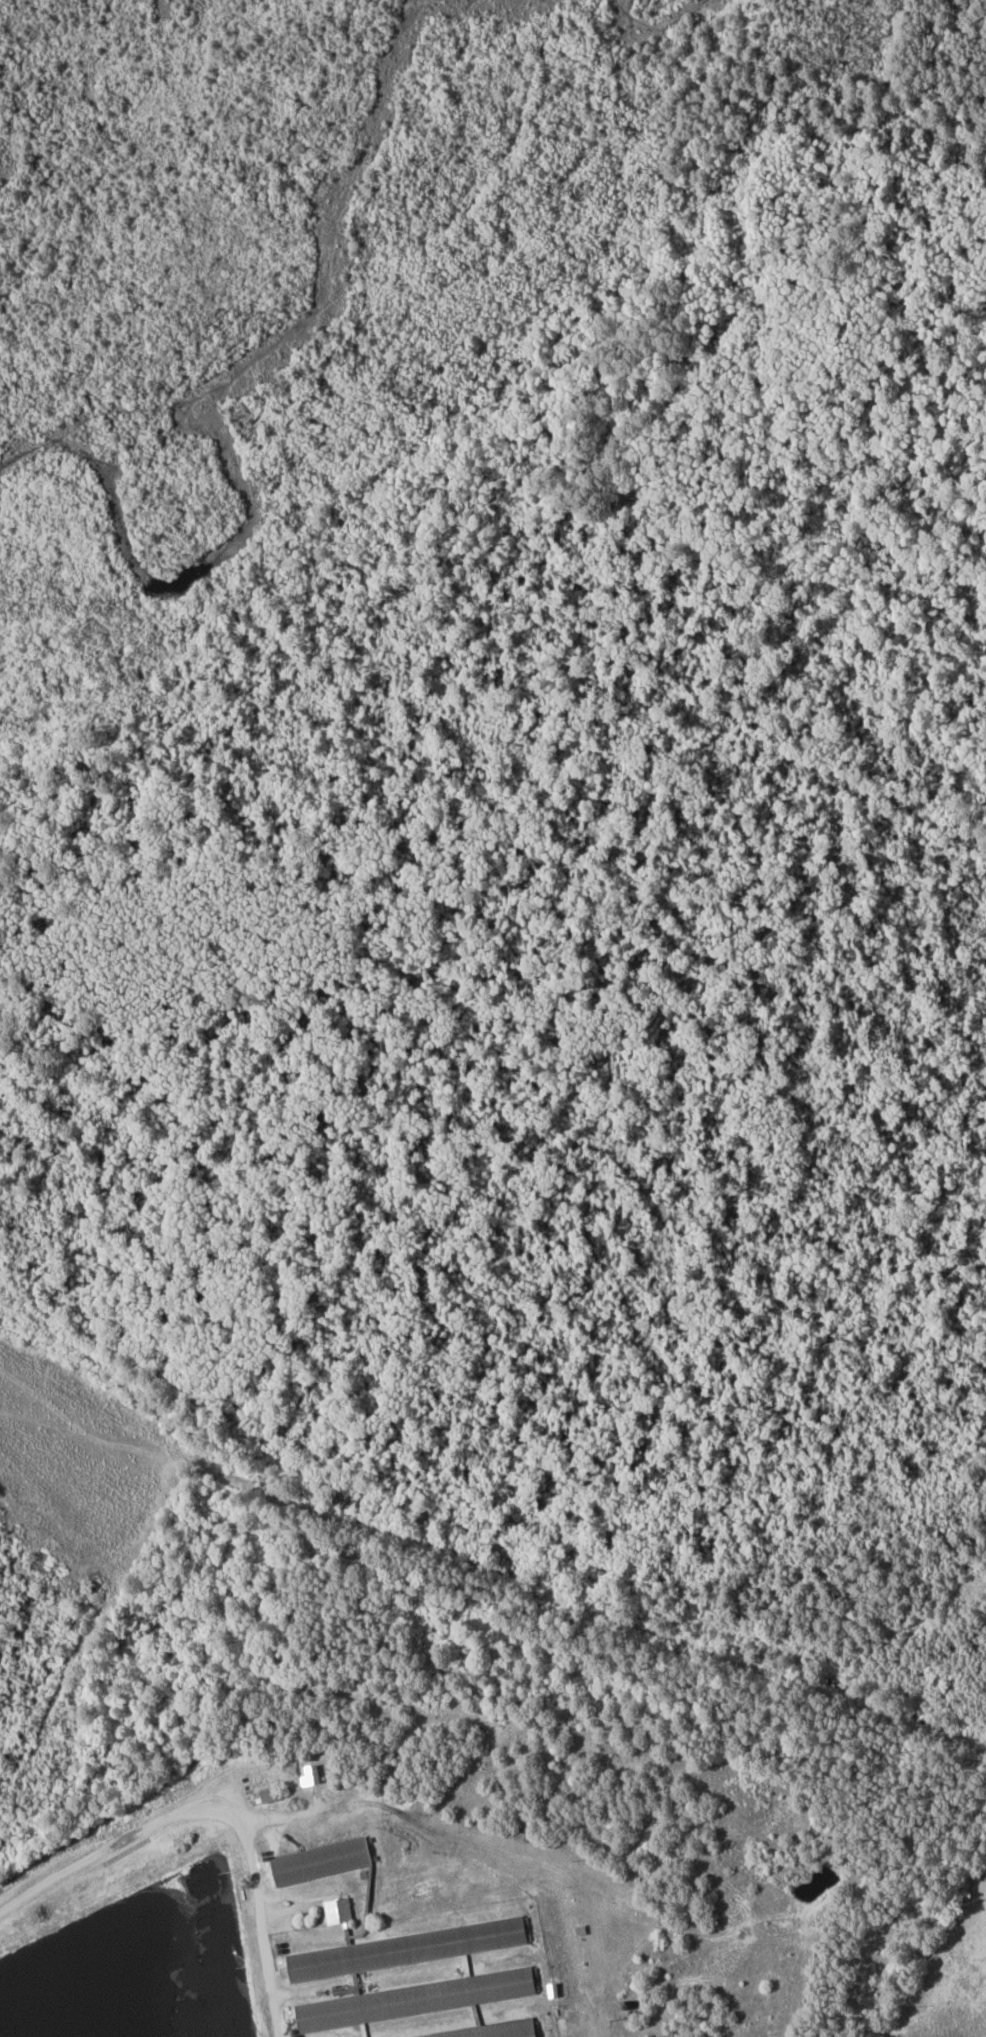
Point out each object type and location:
building: (268, 1794)
road: (68, 1869)
building: (337, 1910)
building: (405, 1948)
building: (424, 2009)

